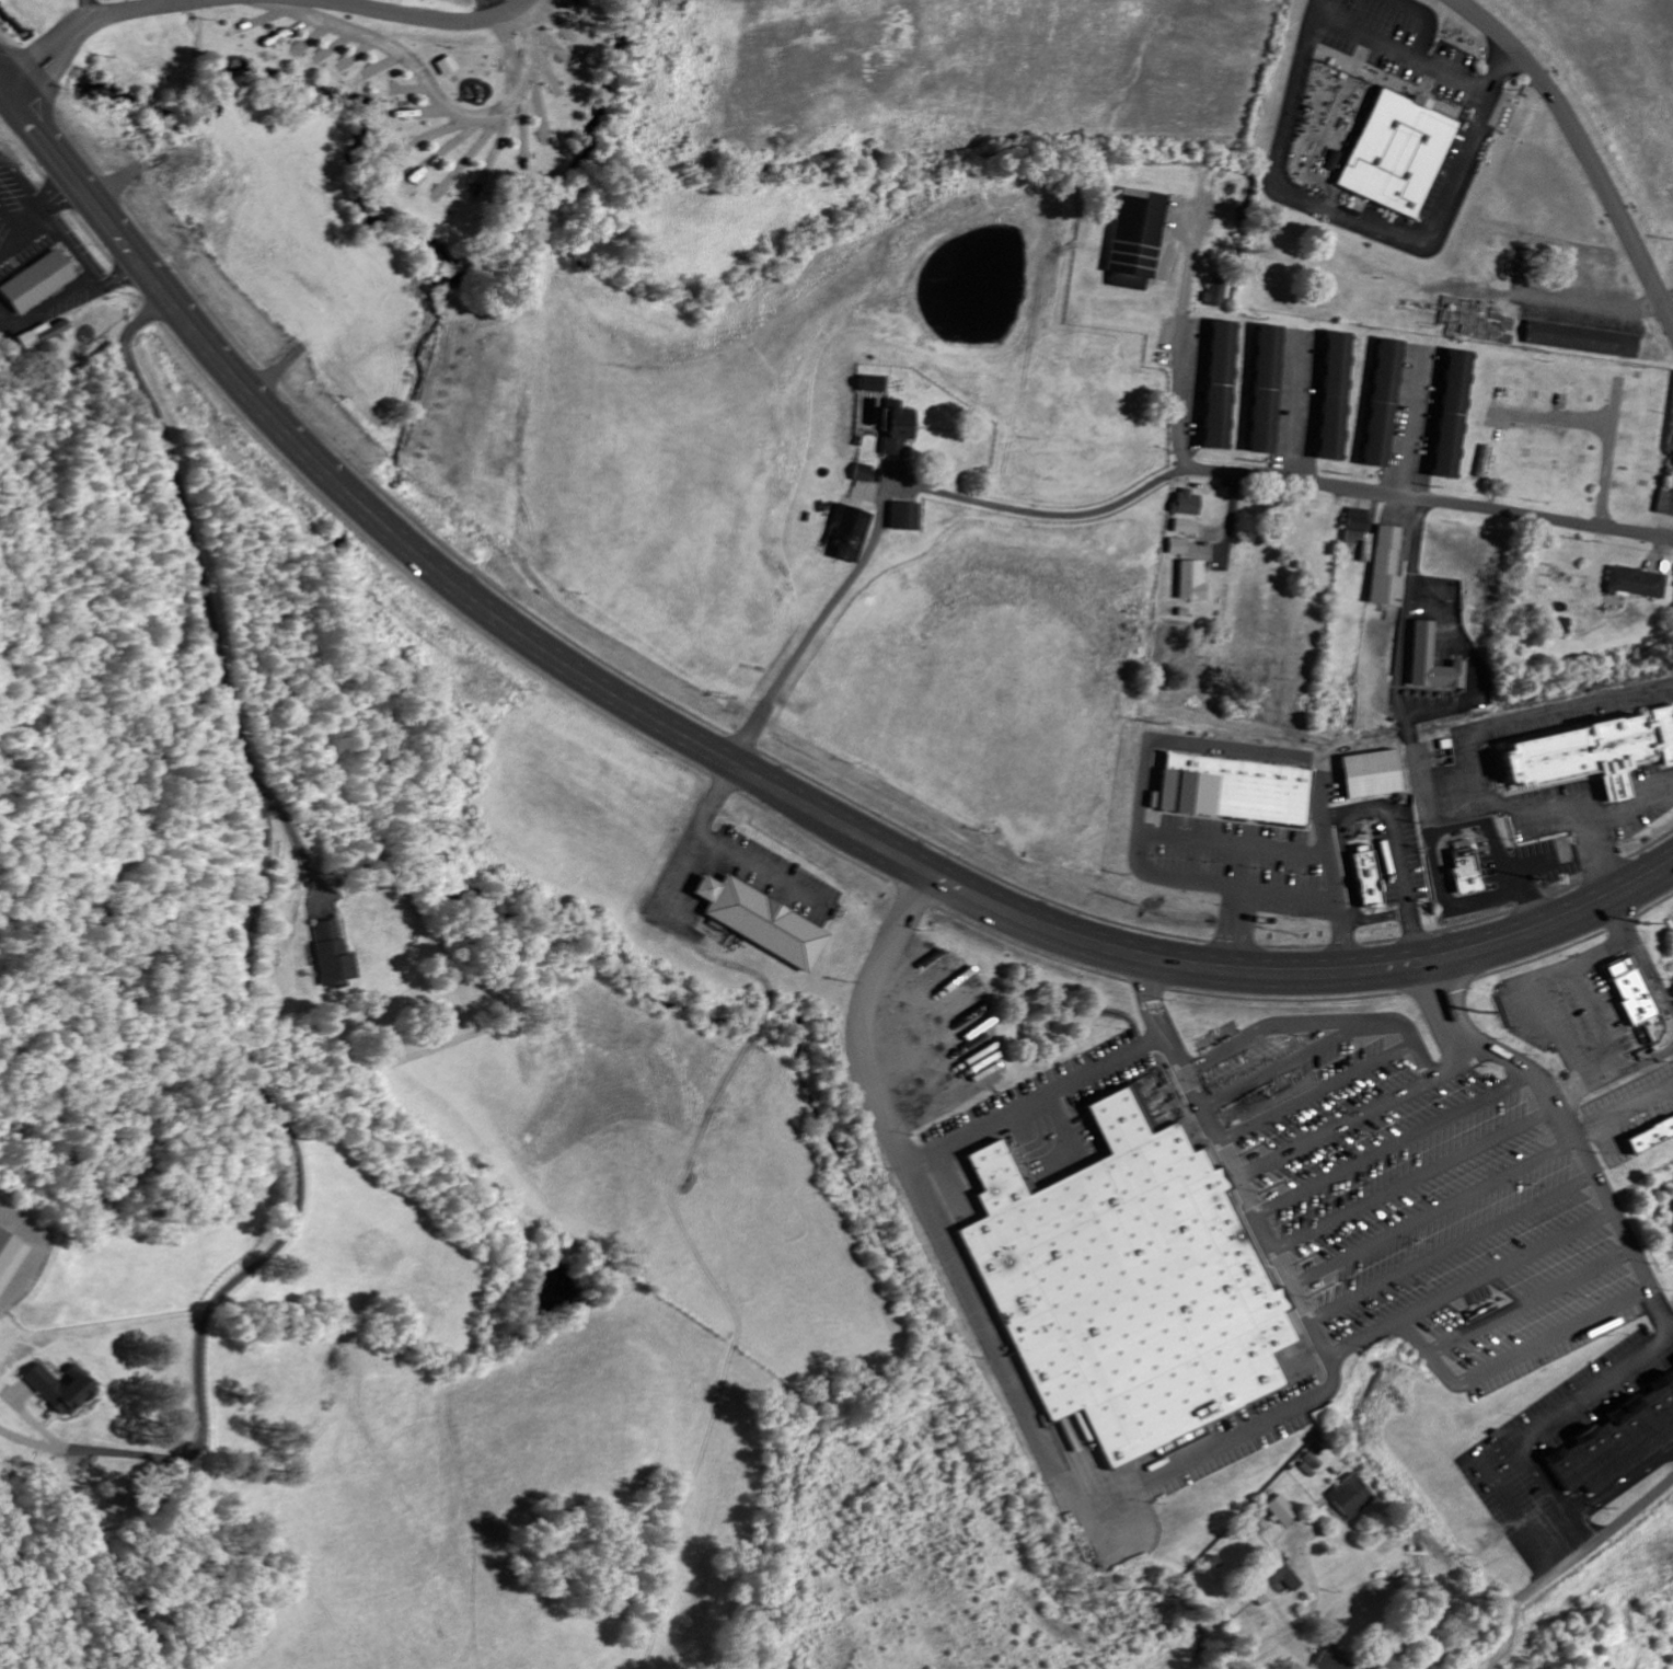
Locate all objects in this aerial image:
water park: (451, 2)
road: (496, 5)
road: (417, 19)
road: (89, 25)
road: (1406, 55)
building: (449, 67)
road: (7, 78)
road: (1582, 145)
building: (417, 147)
building: (1401, 158)
building: (422, 176)
building: (447, 192)
road: (1363, 225)
building: (1139, 238)
building: (44, 280)
road: (168, 290)
building: (1219, 292)
road: (1595, 301)
building: (49, 335)
building: (1582, 339)
building: (872, 384)
building: (1221, 384)
building: (1267, 390)
building: (1335, 395)
building: (1383, 403)
road: (1299, 406)
building: (1453, 414)
road: (1554, 422)
road: (1417, 424)
building: (897, 428)
road: (1607, 454)
building: (863, 473)
road: (1297, 479)
building: (1188, 503)
building: (1665, 503)
building: (904, 516)
road: (1028, 517)
building: (1188, 527)
building: (1359, 532)
building: (847, 533)
building: (1178, 546)
building: (1386, 567)
building: (1192, 580)
building: (1635, 583)
building: (1560, 626)
building: (1433, 661)
road: (589, 668)
road: (1406, 743)
building: (1594, 752)
building: (1374, 774)
building: (1235, 790)
road: (1357, 806)
road: (695, 832)
road: (1499, 852)
road: (764, 871)
building: (1467, 872)
building: (1369, 876)
building: (761, 922)
road: (245, 952)
building: (332, 955)
road: (1639, 960)
road: (1262, 969)
road: (1530, 989)
building: (1630, 990)
road: (1593, 1016)
road: (1318, 1022)
road: (1497, 1049)
road: (1269, 1066)
road: (1616, 1068)
road: (1316, 1091)
road: (1031, 1098)
road: (1624, 1109)
road: (1359, 1115)
building: (1651, 1132)
road: (1398, 1144)
road: (904, 1172)
road: (1418, 1181)
road: (1434, 1213)
road: (1452, 1247)
building: (10, 1258)
road: (1279, 1263)
road: (1469, 1284)
building: (1123, 1285)
road: (1528, 1298)
road: (1589, 1316)
building: (65, 1390)
building: (1617, 1438)
building: (1353, 1497)
road: (1097, 1498)
building: (112, 1510)
building: (1283, 1511)
building: (1284, 1576)
road: (1548, 1577)
building: (1266, 1595)
road: (1273, 1643)
building: (1336, 1662)

